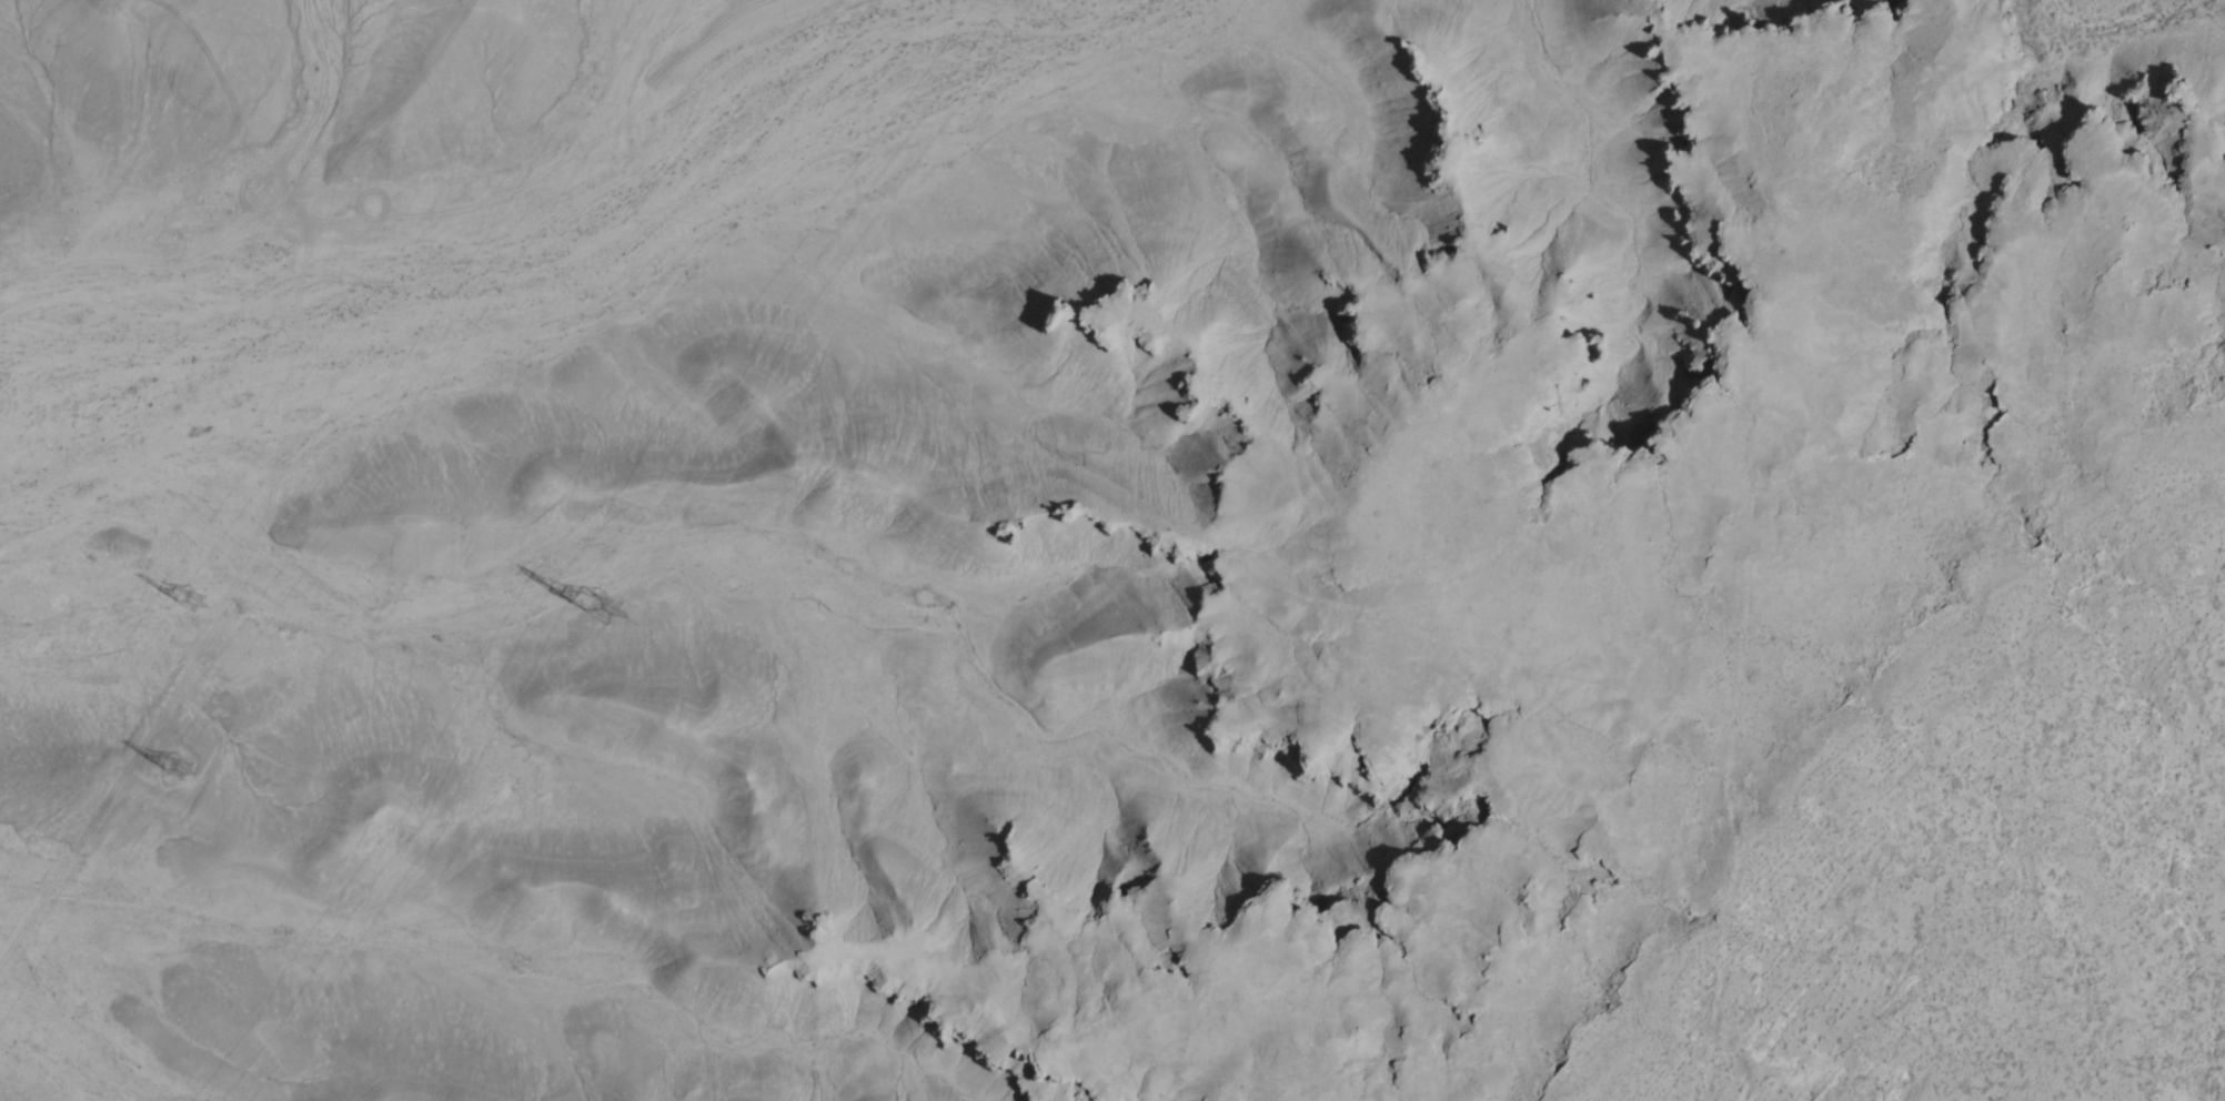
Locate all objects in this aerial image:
power tower: (197, 596)
power tower: (596, 606)
power tower: (182, 765)

